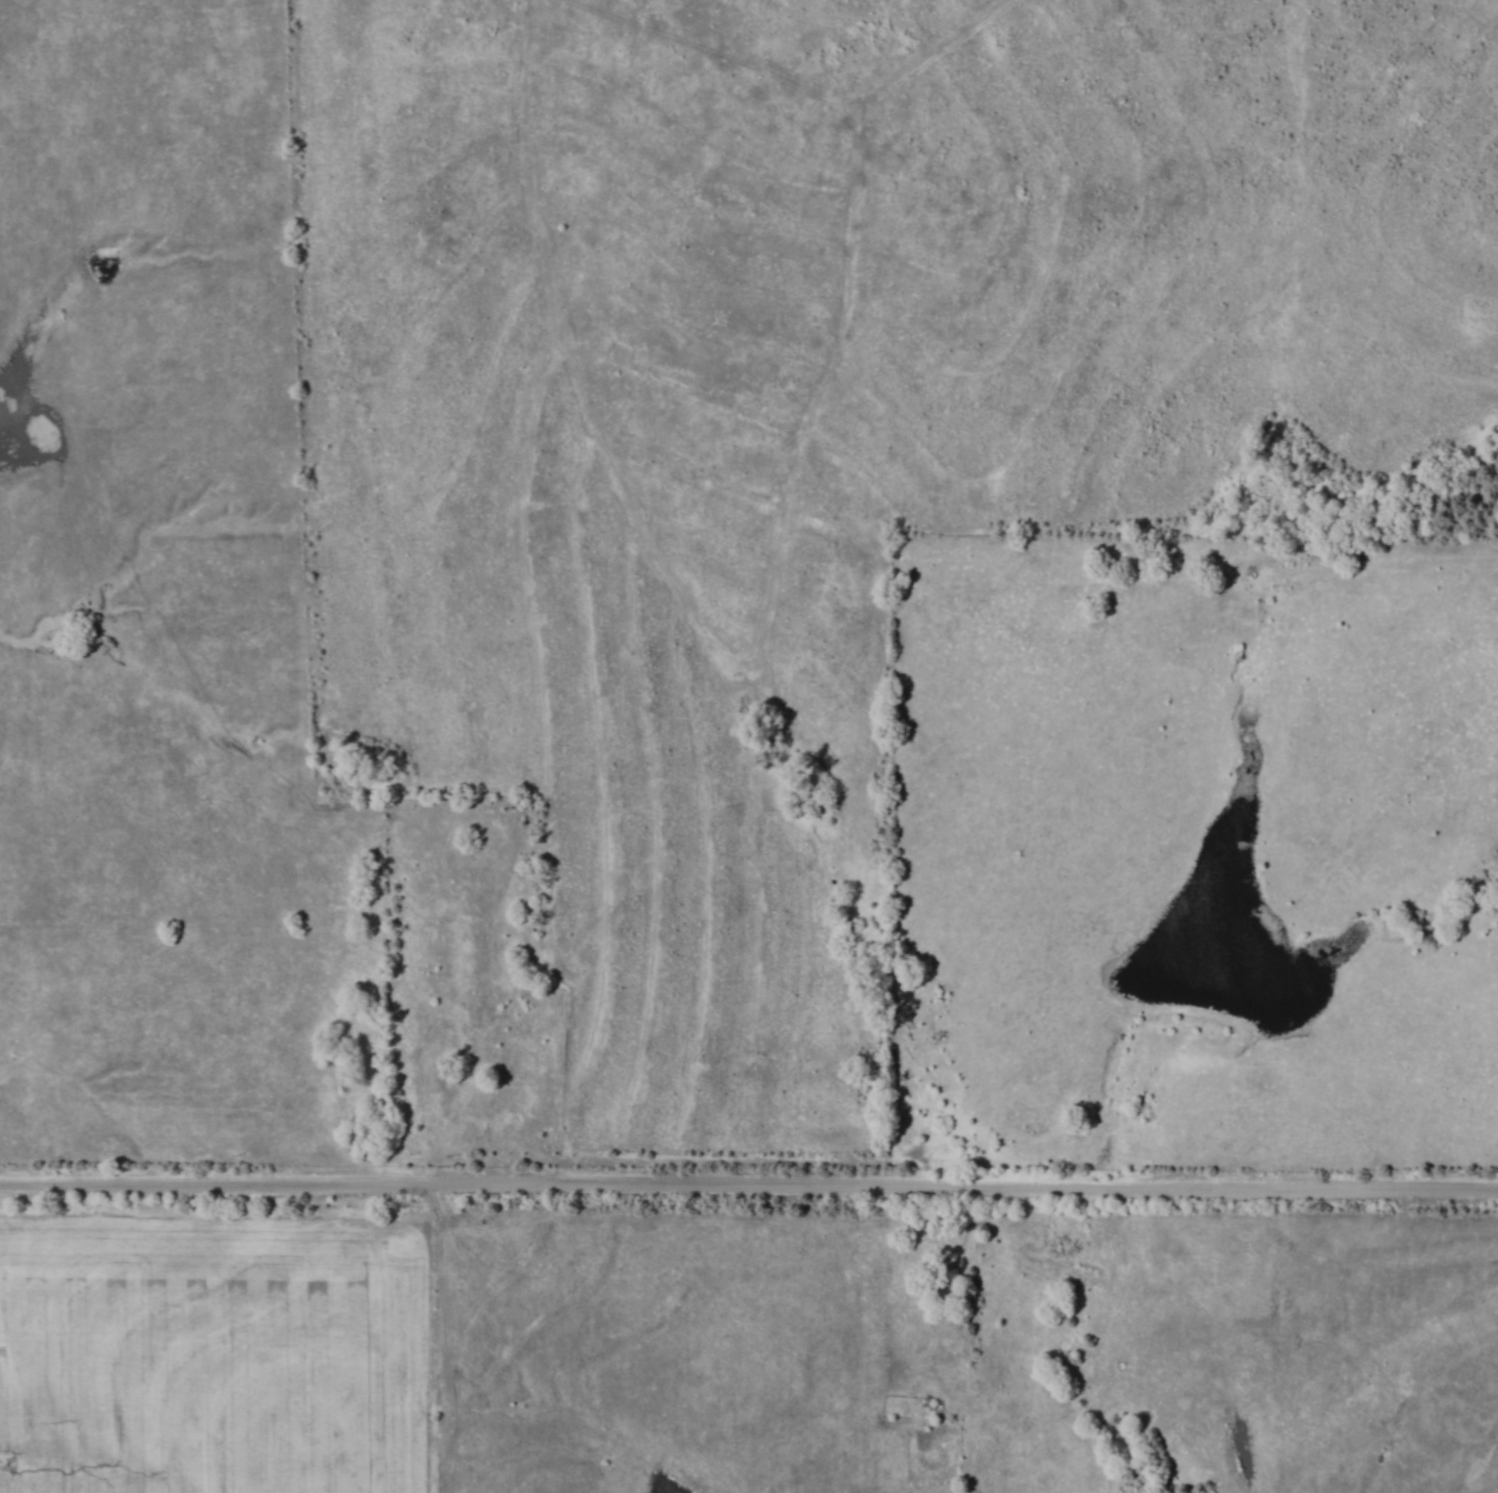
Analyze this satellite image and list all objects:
road: (749, 1190)

